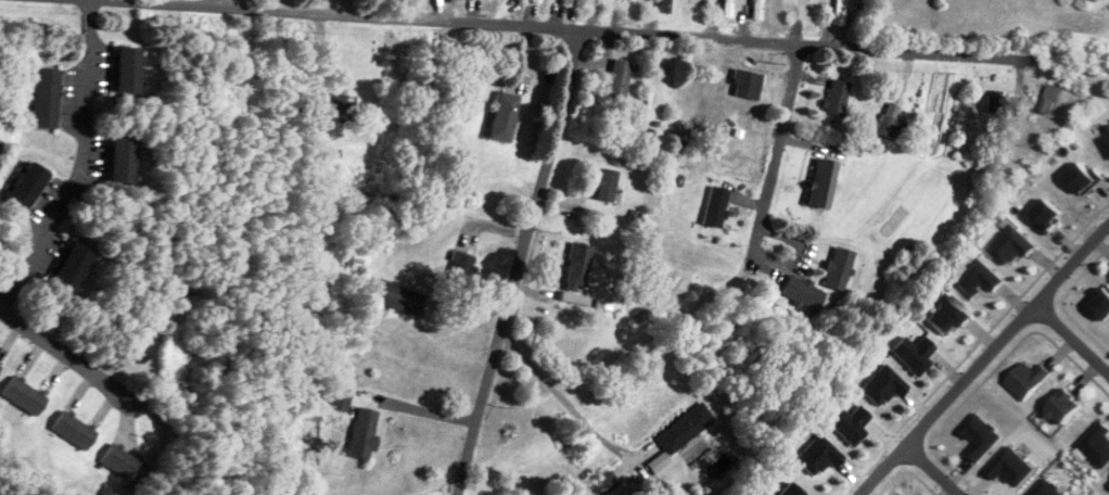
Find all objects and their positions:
building: (456, 1)
building: (536, 1)
building: (568, 3)
building: (601, 3)
road: (220, 5)
building: (667, 7)
building: (728, 9)
building: (759, 10)
building: (811, 11)
building: (840, 13)
road: (599, 38)
building: (128, 69)
building: (620, 78)
building: (748, 84)
building: (837, 98)
building: (46, 99)
building: (1050, 100)
building: (340, 103)
building: (998, 103)
building: (505, 116)
building: (890, 126)
building: (120, 158)
road: (78, 161)
road: (772, 164)
building: (824, 182)
building: (607, 185)
building: (28, 187)
building: (716, 205)
building: (462, 264)
building: (74, 265)
road: (515, 265)
building: (840, 268)
building: (576, 271)
building: (803, 293)
building: (397, 296)
road: (1071, 337)
building: (142, 347)
road: (983, 358)
building: (0, 365)
building: (1031, 380)
road: (127, 394)
building: (25, 395)
road: (560, 395)
building: (1071, 405)
building: (686, 428)
building: (75, 429)
building: (364, 433)
building: (124, 462)
road: (932, 470)
building: (1108, 483)

